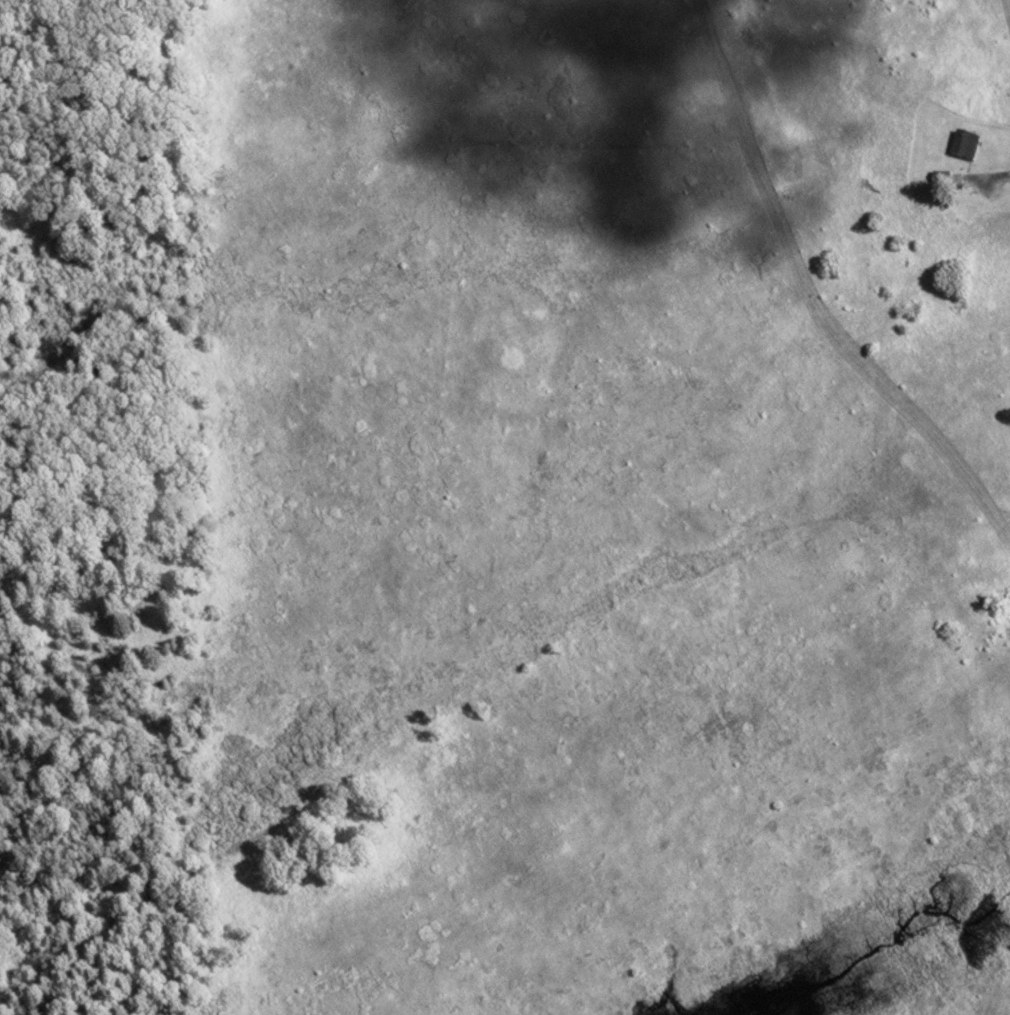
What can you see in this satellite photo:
building: (962, 144)
road: (979, 174)

